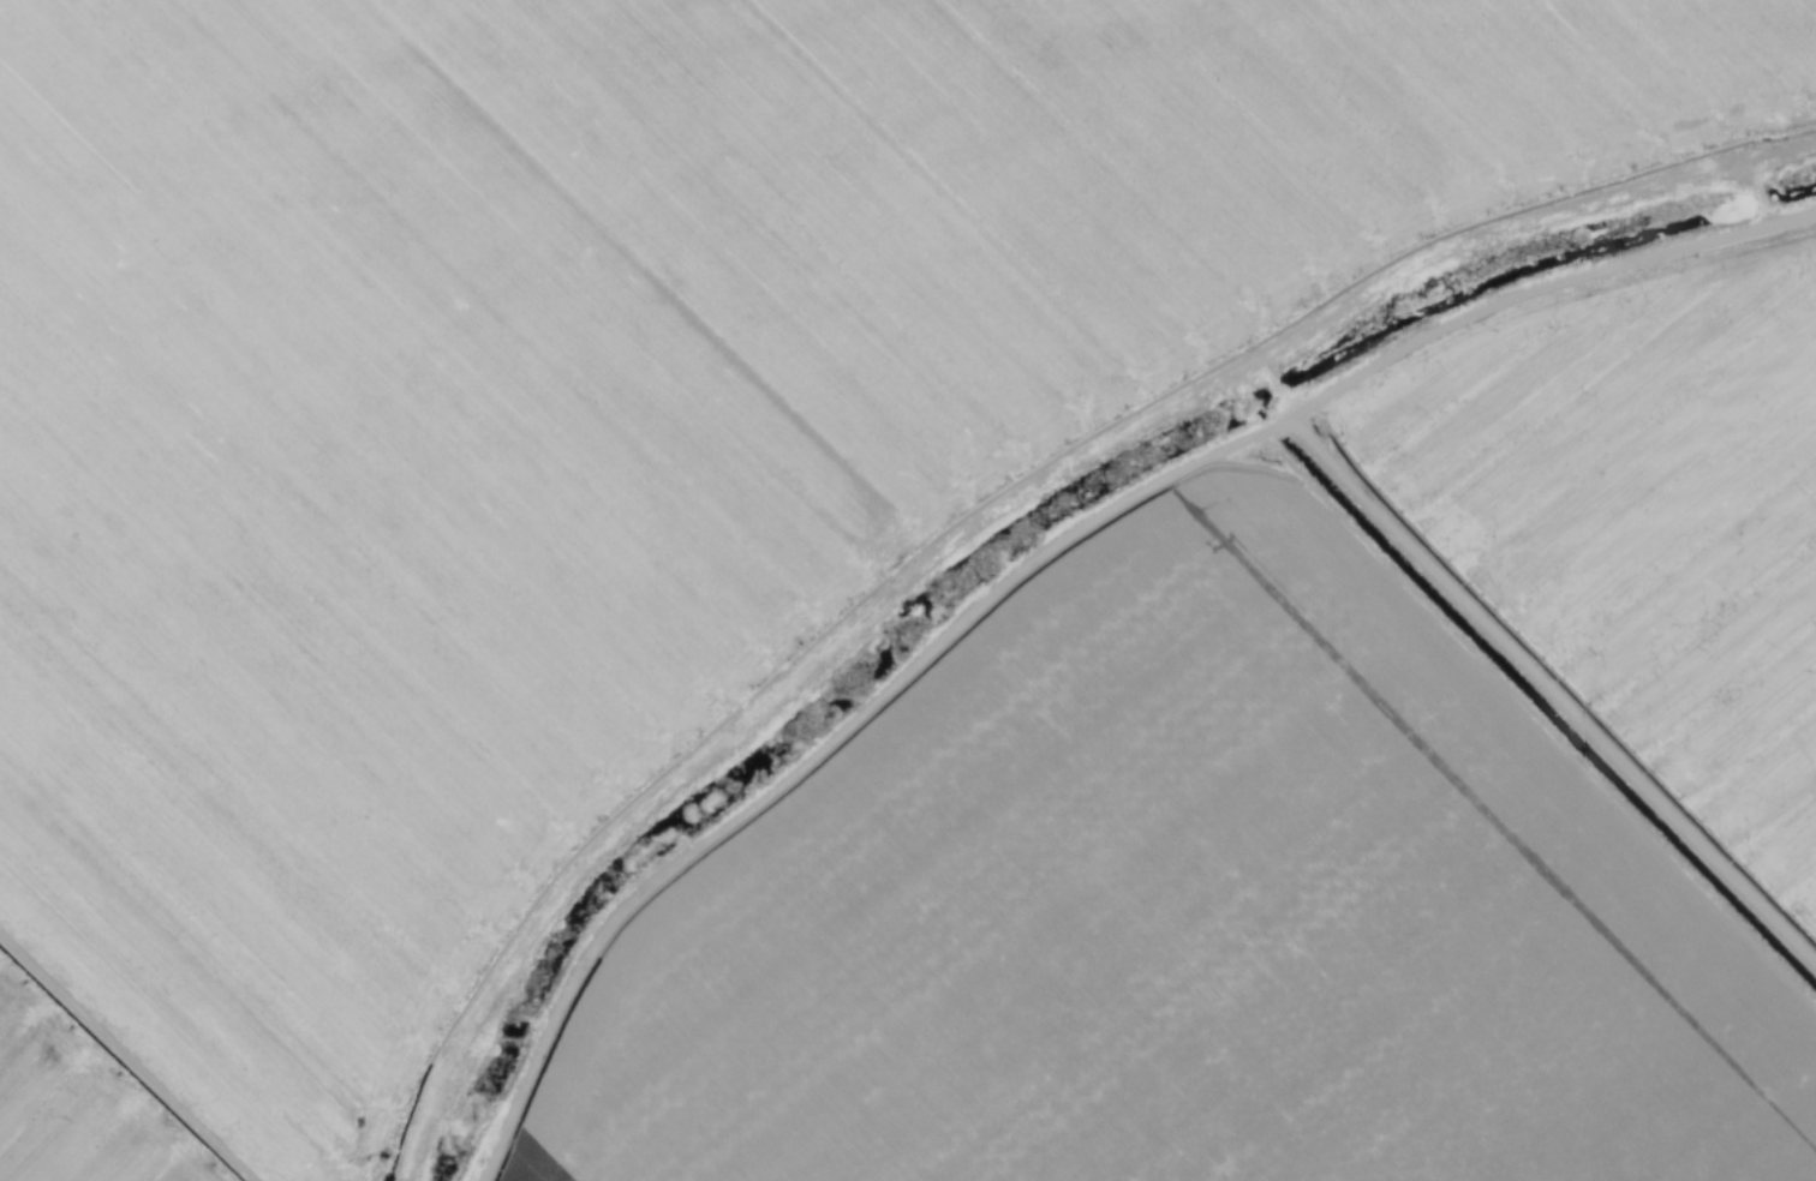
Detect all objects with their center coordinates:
crop: (908, 590)

